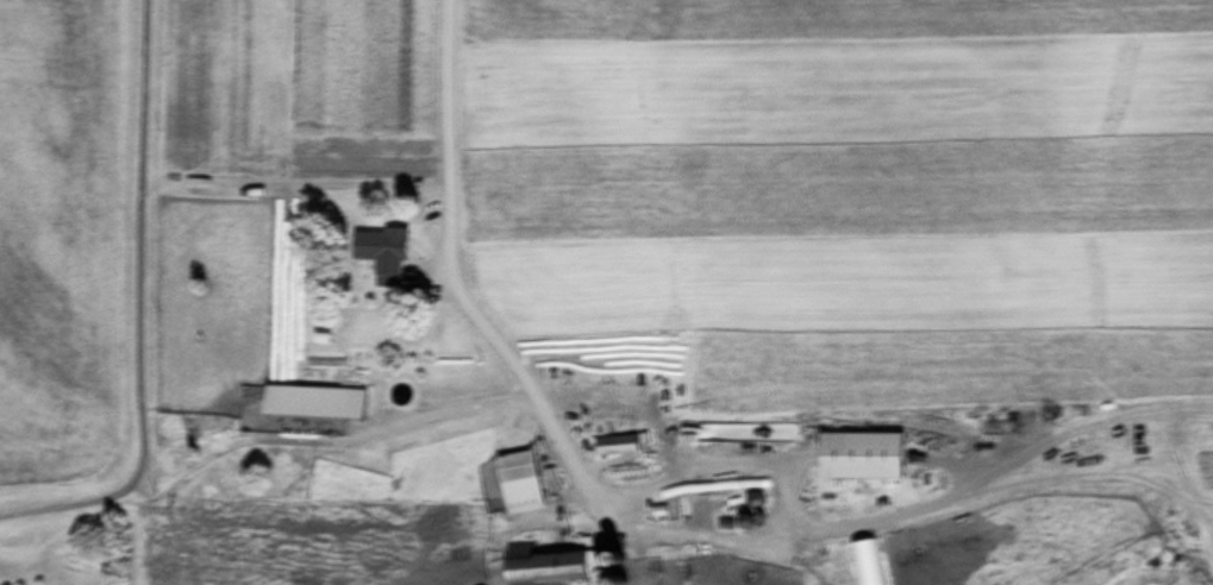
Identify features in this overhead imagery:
building: (382, 252)
road: (454, 268)
road: (145, 314)
building: (313, 404)
building: (615, 446)
building: (859, 458)
building: (518, 484)
building: (561, 566)

